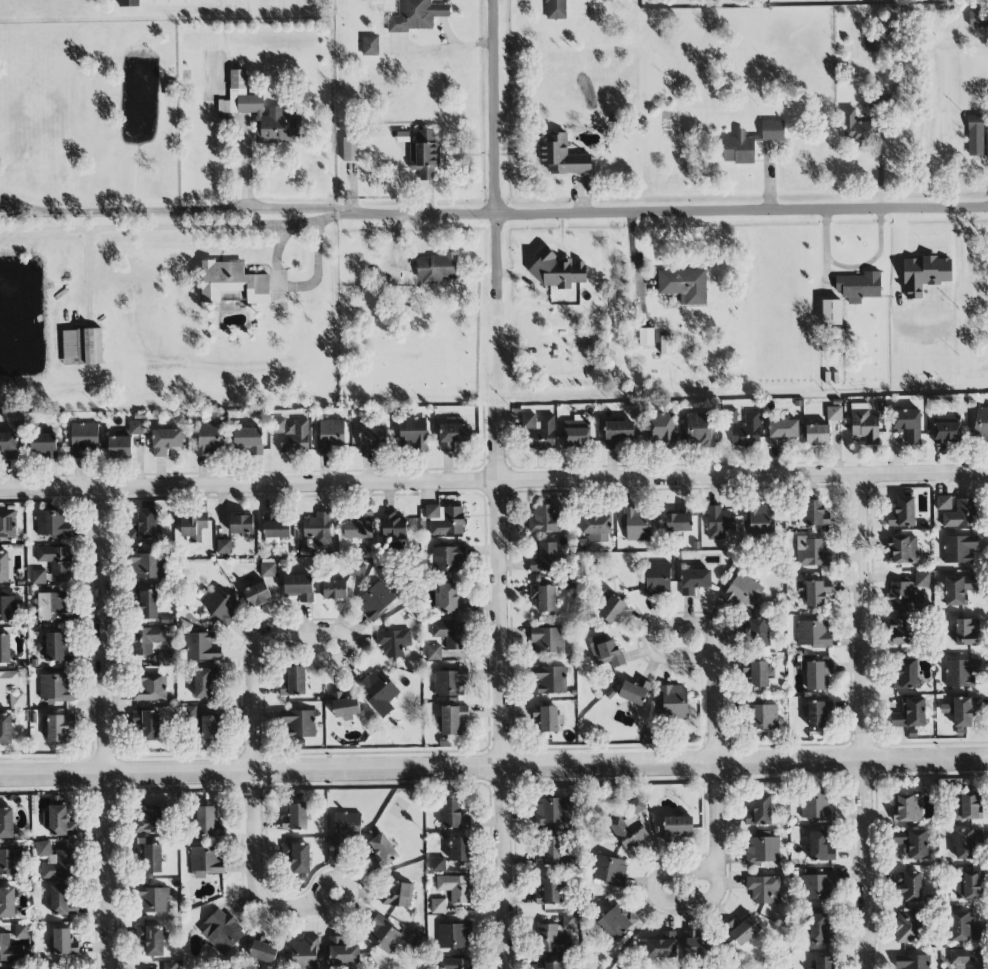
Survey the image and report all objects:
building: (128, 3)
building: (555, 9)
building: (416, 15)
building: (978, 19)
building: (370, 45)
building: (879, 102)
building: (260, 113)
building: (857, 129)
building: (772, 131)
building: (975, 136)
building: (986, 145)
building: (739, 148)
road: (494, 149)
building: (350, 150)
building: (423, 154)
building: (561, 156)
road: (263, 207)
road: (741, 211)
road: (420, 213)
road: (316, 218)
road: (158, 227)
road: (850, 266)
building: (436, 268)
building: (925, 274)
building: (232, 282)
building: (684, 285)
building: (858, 285)
road: (297, 288)
building: (230, 296)
building: (831, 312)
building: (646, 337)
building: (666, 345)
building: (82, 347)
building: (833, 414)
building: (731, 416)
building: (864, 424)
building: (907, 424)
building: (981, 425)
building: (133, 428)
building: (660, 429)
building: (539, 430)
building: (703, 430)
building: (781, 430)
building: (947, 430)
building: (747, 431)
building: (577, 432)
building: (291, 433)
building: (413, 433)
building: (617, 433)
building: (331, 435)
building: (453, 435)
building: (817, 435)
building: (83, 438)
building: (209, 438)
building: (248, 440)
building: (372, 440)
building: (166, 441)
building: (8, 444)
building: (44, 444)
building: (119, 447)
road: (494, 481)
building: (943, 503)
building: (902, 512)
building: (815, 514)
building: (960, 514)
building: (445, 519)
building: (545, 520)
building: (679, 520)
building: (761, 520)
building: (719, 522)
building: (53, 523)
building: (7, 524)
building: (241, 524)
building: (637, 524)
building: (145, 525)
building: (394, 525)
building: (193, 527)
building: (276, 527)
building: (596, 527)
building: (318, 528)
building: (360, 528)
building: (224, 546)
building: (959, 548)
building: (903, 549)
building: (814, 554)
building: (55, 558)
building: (445, 558)
building: (544, 558)
building: (147, 565)
building: (6, 567)
building: (268, 567)
building: (356, 570)
building: (38, 576)
building: (657, 579)
building: (922, 579)
building: (694, 581)
building: (299, 586)
building: (334, 589)
building: (958, 589)
building: (743, 591)
building: (817, 593)
building: (257, 594)
building: (904, 597)
building: (544, 598)
building: (376, 600)
building: (449, 600)
building: (220, 604)
building: (7, 605)
building: (147, 605)
building: (52, 606)
building: (613, 610)
building: (759, 631)
building: (900, 631)
road: (324, 632)
building: (965, 632)
building: (813, 633)
building: (449, 634)
building: (146, 639)
building: (547, 640)
building: (393, 642)
building: (202, 647)
building: (57, 648)
building: (5, 649)
building: (433, 652)
building: (604, 652)
building: (165, 657)
road: (251, 671)
building: (961, 672)
building: (759, 674)
building: (905, 674)
building: (817, 675)
road: (711, 677)
building: (550, 680)
building: (7, 681)
building: (293, 681)
building: (205, 682)
building: (449, 682)
building: (150, 687)
road: (499, 687)
building: (56, 688)
building: (379, 691)
building: (634, 691)
building: (17, 701)
building: (673, 702)
building: (344, 706)
building: (962, 710)
building: (818, 713)
building: (910, 713)
building: (762, 717)
building: (136, 718)
building: (453, 719)
building: (545, 719)
road: (862, 721)
building: (300, 724)
building: (150, 725)
building: (59, 727)
building: (209, 727)
building: (6, 728)
road: (104, 728)
road: (493, 766)
building: (817, 806)
building: (968, 806)
building: (907, 808)
building: (759, 811)
building: (551, 812)
building: (455, 815)
building: (297, 817)
building: (149, 819)
building: (207, 821)
building: (58, 822)
building: (6, 823)
building: (346, 828)
building: (677, 828)
building: (635, 833)
building: (912, 842)
building: (967, 843)
building: (821, 846)
road: (714, 847)
building: (762, 848)
building: (459, 849)
building: (550, 850)
building: (382, 851)
building: (150, 857)
building: (297, 857)
building: (8, 861)
building: (55, 861)
building: (206, 861)
building: (438, 865)
road: (253, 869)
building: (609, 870)
building: (967, 883)
building: (819, 884)
building: (909, 885)
building: (455, 887)
building: (764, 889)
building: (549, 892)
building: (397, 894)
building: (60, 900)
building: (154, 900)
building: (7, 902)
road: (324, 902)
building: (438, 905)
building: (569, 921)
building: (614, 923)
building: (908, 927)
building: (963, 927)
building: (21, 930)
building: (742, 930)
building: (821, 930)
building: (221, 931)
building: (383, 936)
building: (454, 936)
building: (152, 939)
building: (553, 939)
building: (62, 942)
building: (699, 944)
building: (663, 945)
building: (263, 949)
building: (9, 950)
building: (342, 952)
building: (305, 953)
building: (967, 959)
building: (913, 961)
building: (453, 963)
building: (824, 963)
building: (170, 965)
building: (549, 965)

